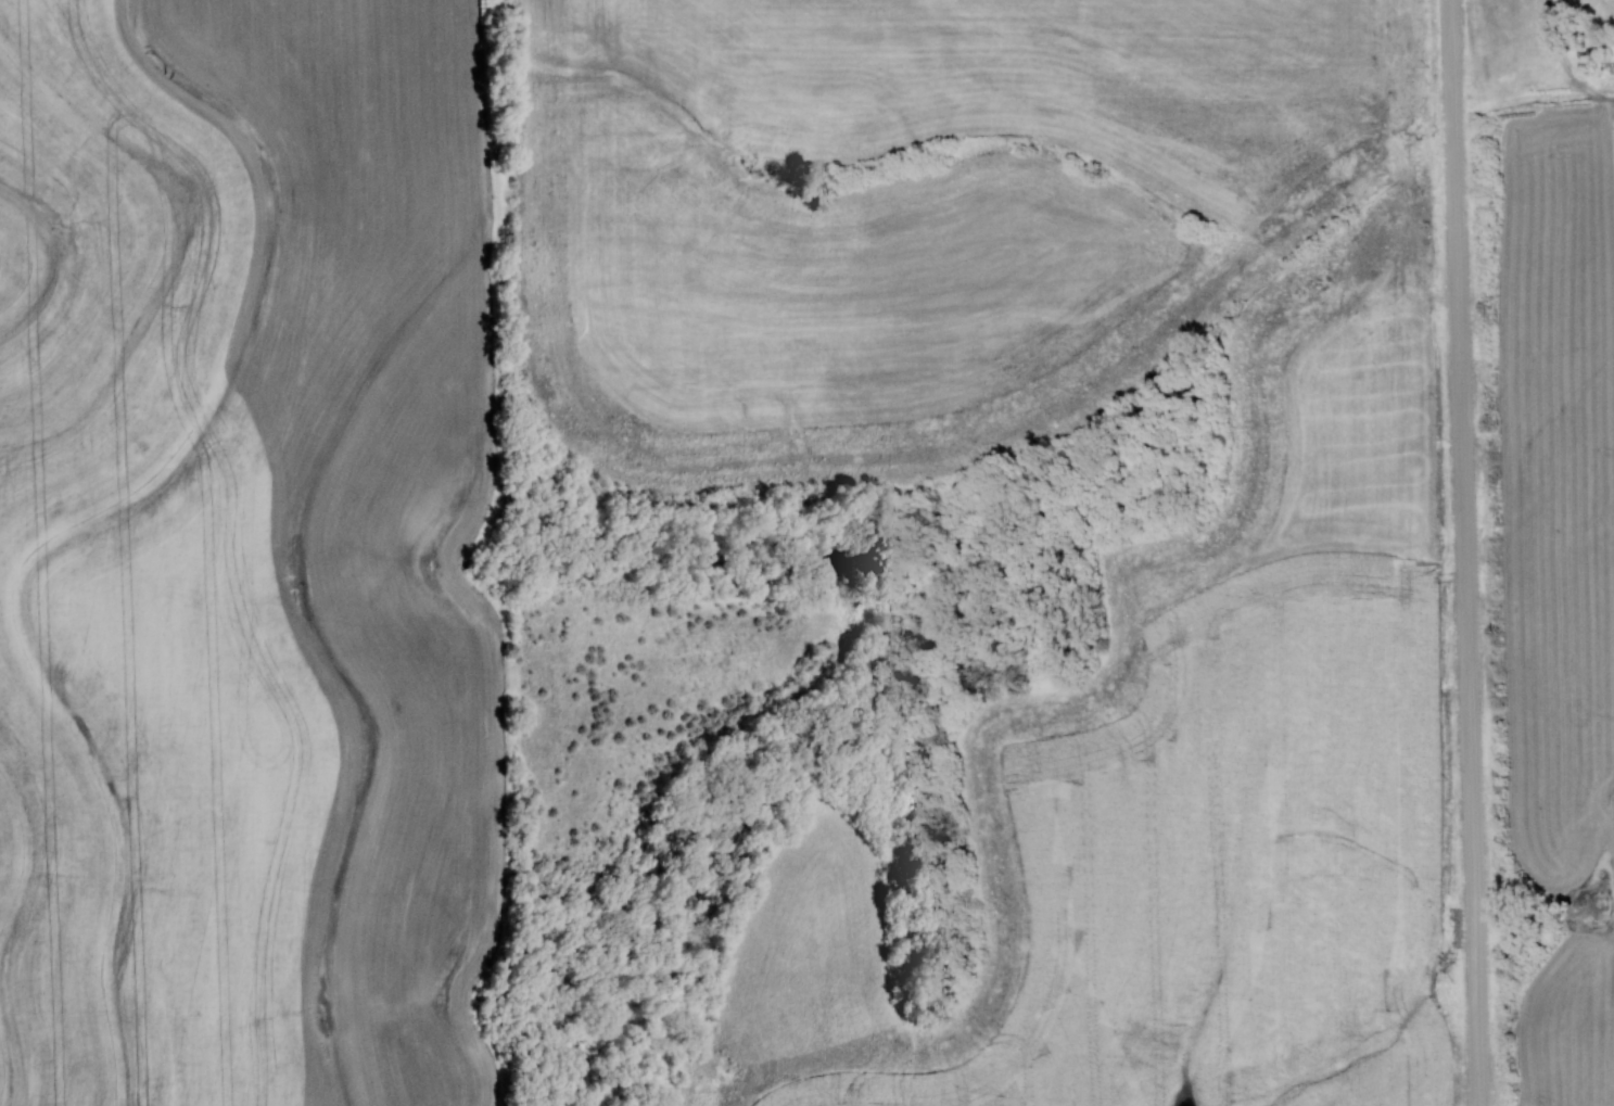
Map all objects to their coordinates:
road: (1472, 552)

